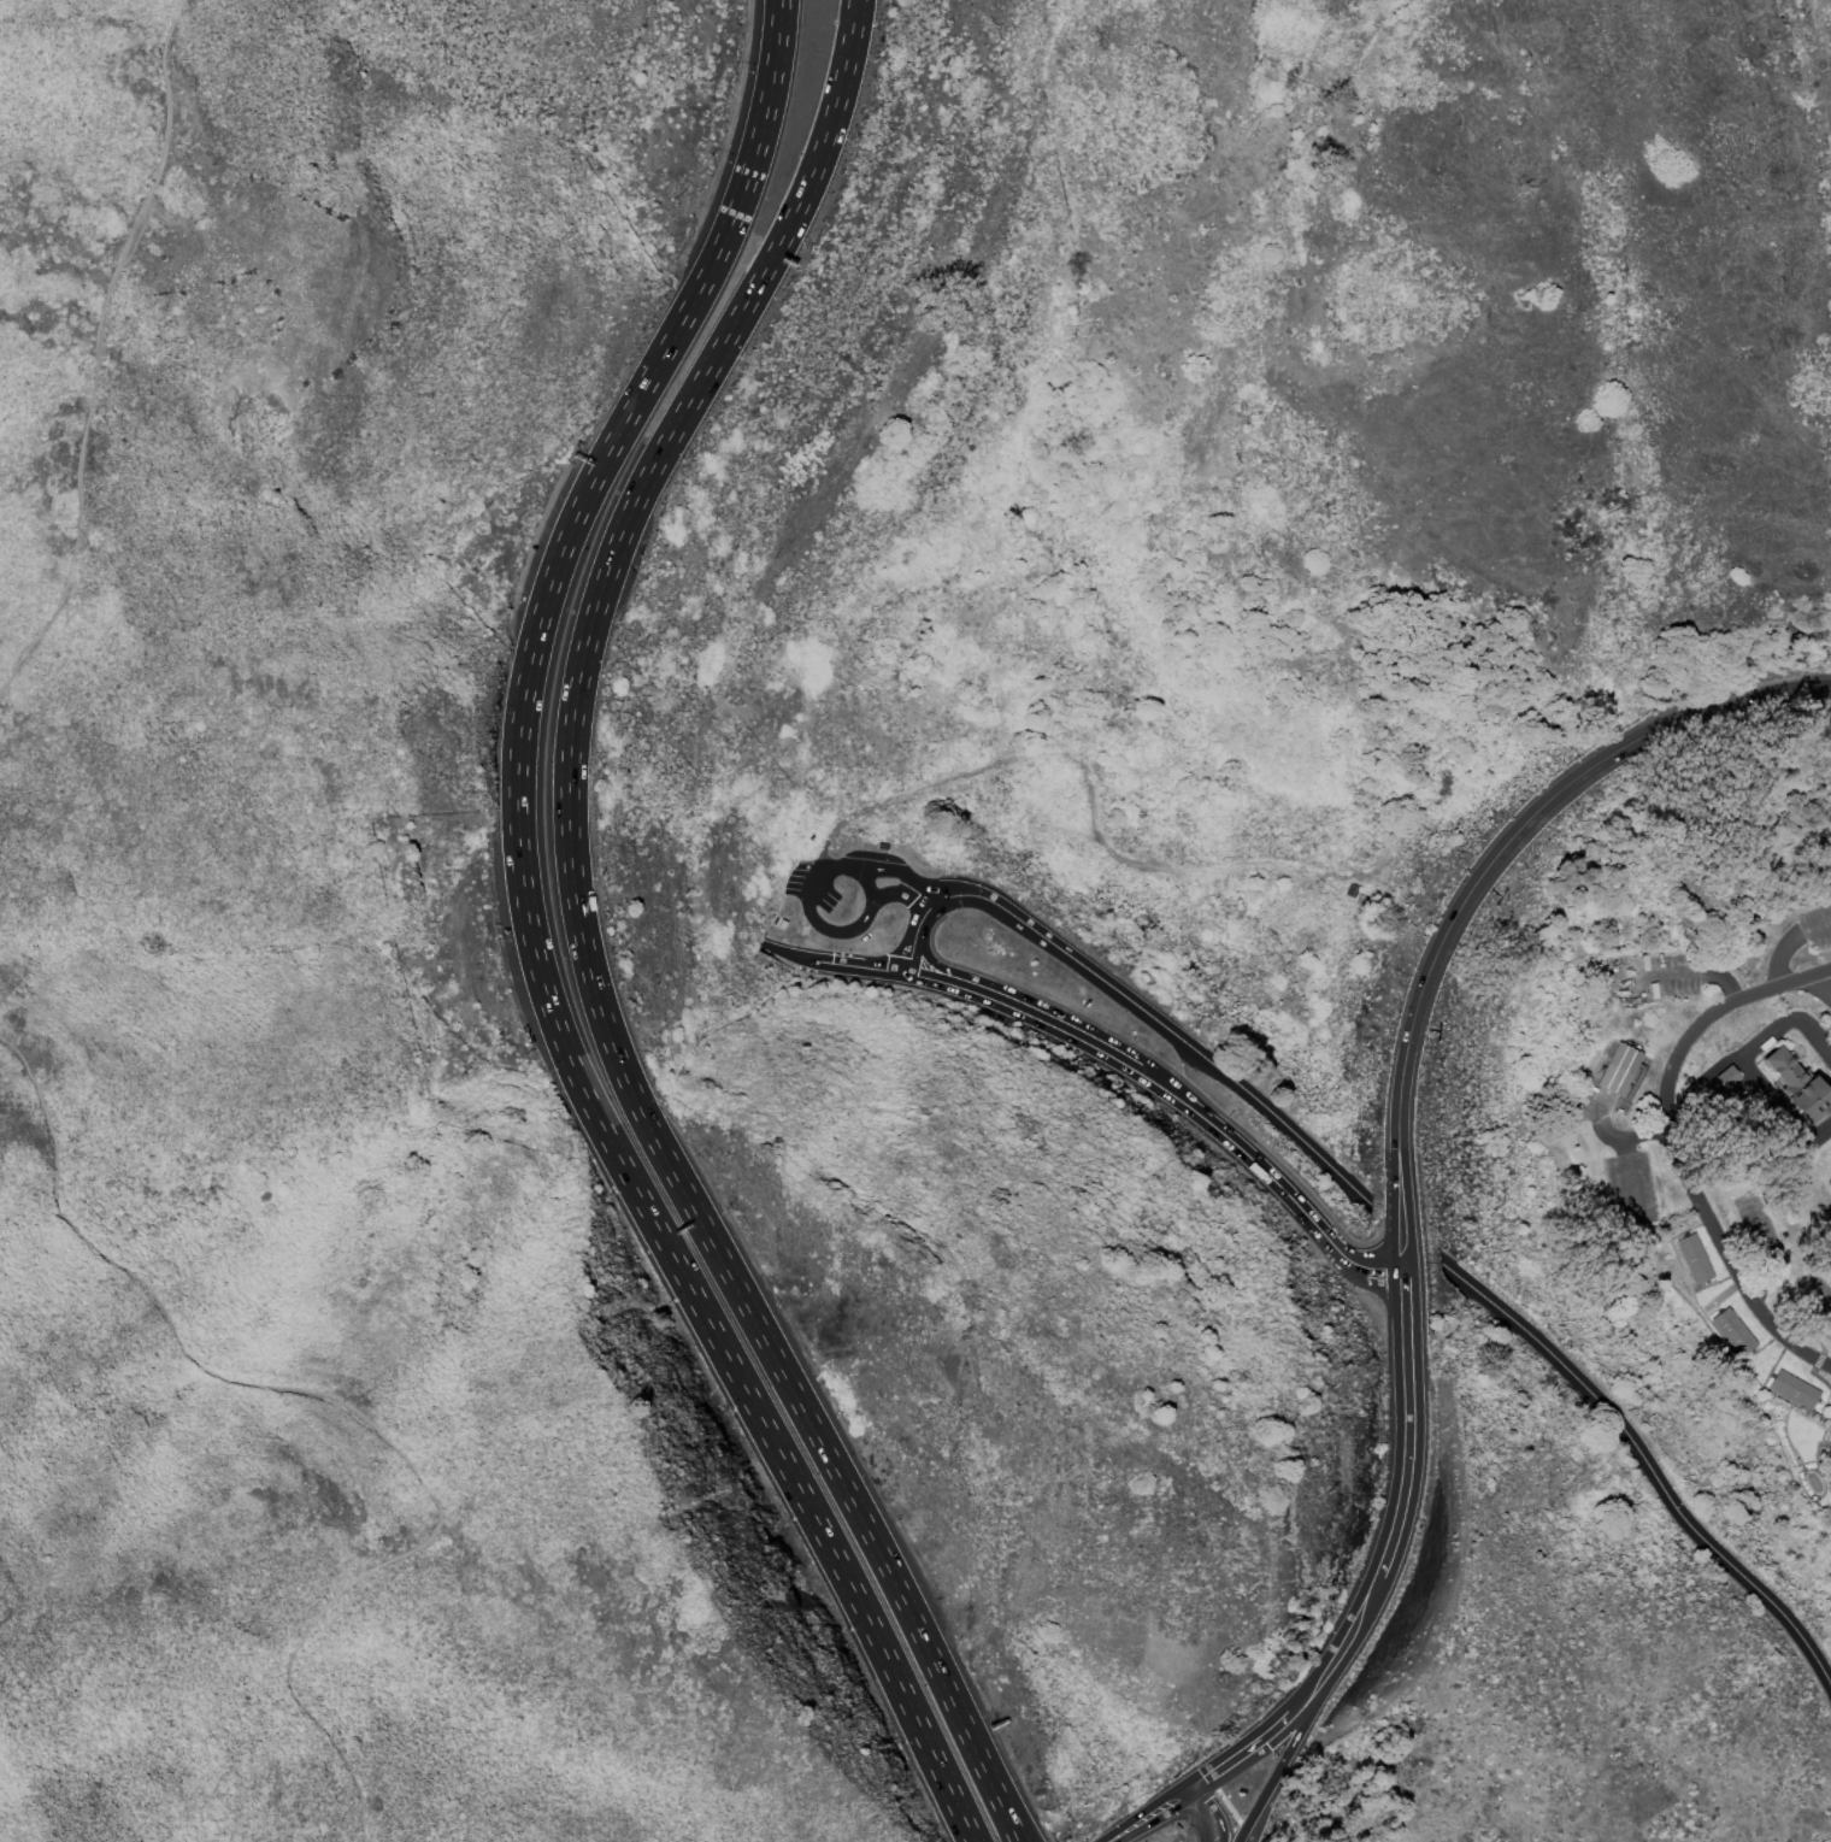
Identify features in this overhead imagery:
road: (94, 346)
road: (1093, 808)
road: (826, 842)
building: (881, 845)
road: (889, 869)
road: (1480, 875)
parking lot: (809, 884)
building: (1350, 888)
road: (893, 893)
road: (928, 899)
building: (781, 923)
road: (1813, 923)
parking lot: (1815, 923)
road: (828, 928)
road: (581, 941)
road: (532, 946)
road: (1777, 954)
road: (831, 960)
traffic signals: (836, 961)
road: (1698, 970)
road: (1819, 984)
road: (1132, 1001)
road: (1035, 1013)
road: (1814, 1036)
building: (1618, 1067)
building: (1726, 1076)
building: (1797, 1082)
road: (1755, 1095)
road: (1674, 1148)
road: (1621, 1154)
road: (1276, 1182)
building: (1694, 1258)
road: (1402, 1291)
building: (1733, 1332)
road: (1406, 1369)
building: (1792, 1389)
road: (351, 1406)
road: (1648, 1456)
road: (1389, 1547)
road: (1276, 1725)
road: (1285, 1752)
road: (1199, 1781)
road: (1005, 1803)
road: (1229, 1808)
road: (1213, 1809)
road: (1147, 1813)
road: (1200, 1813)

